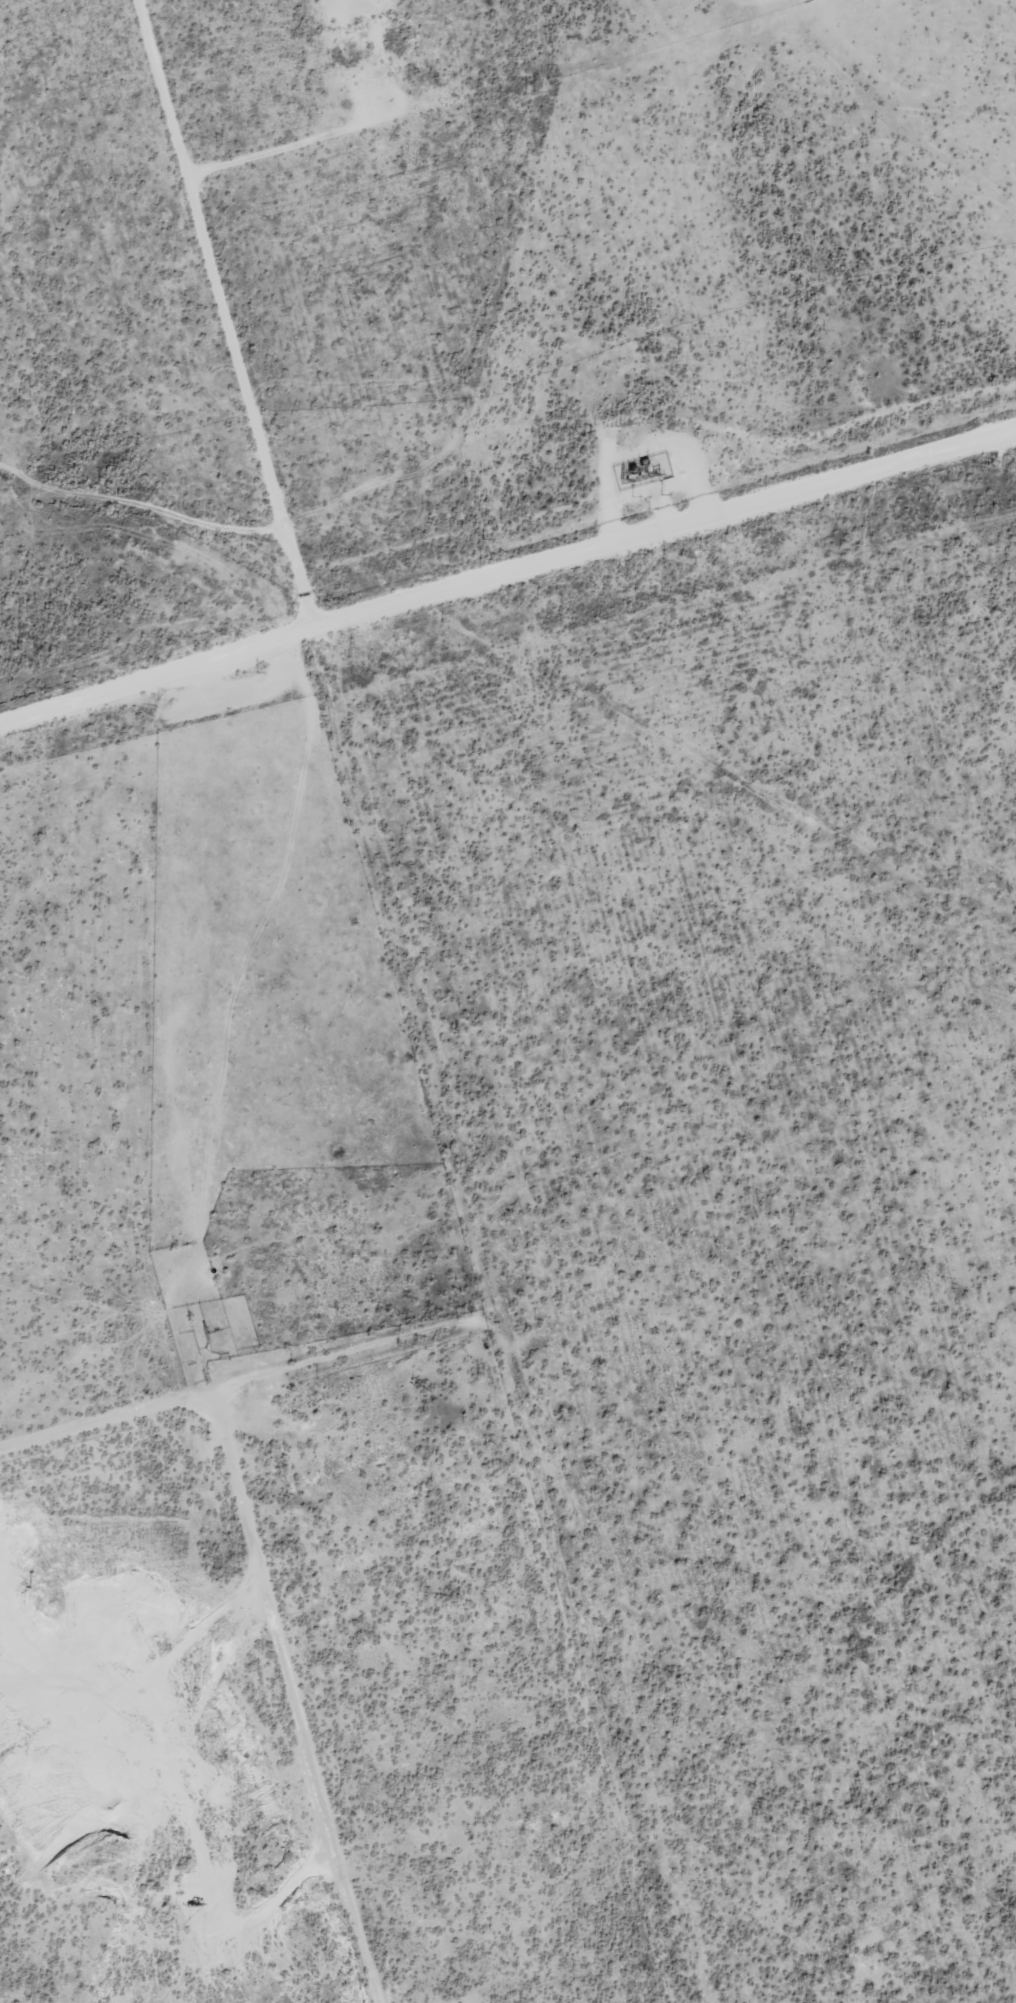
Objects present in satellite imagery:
power tower: (529, 93)
power tower: (618, 425)
power substation: (640, 471)
road: (664, 521)
road: (157, 667)
road: (405, 1004)
road: (246, 1382)
road: (296, 1698)

